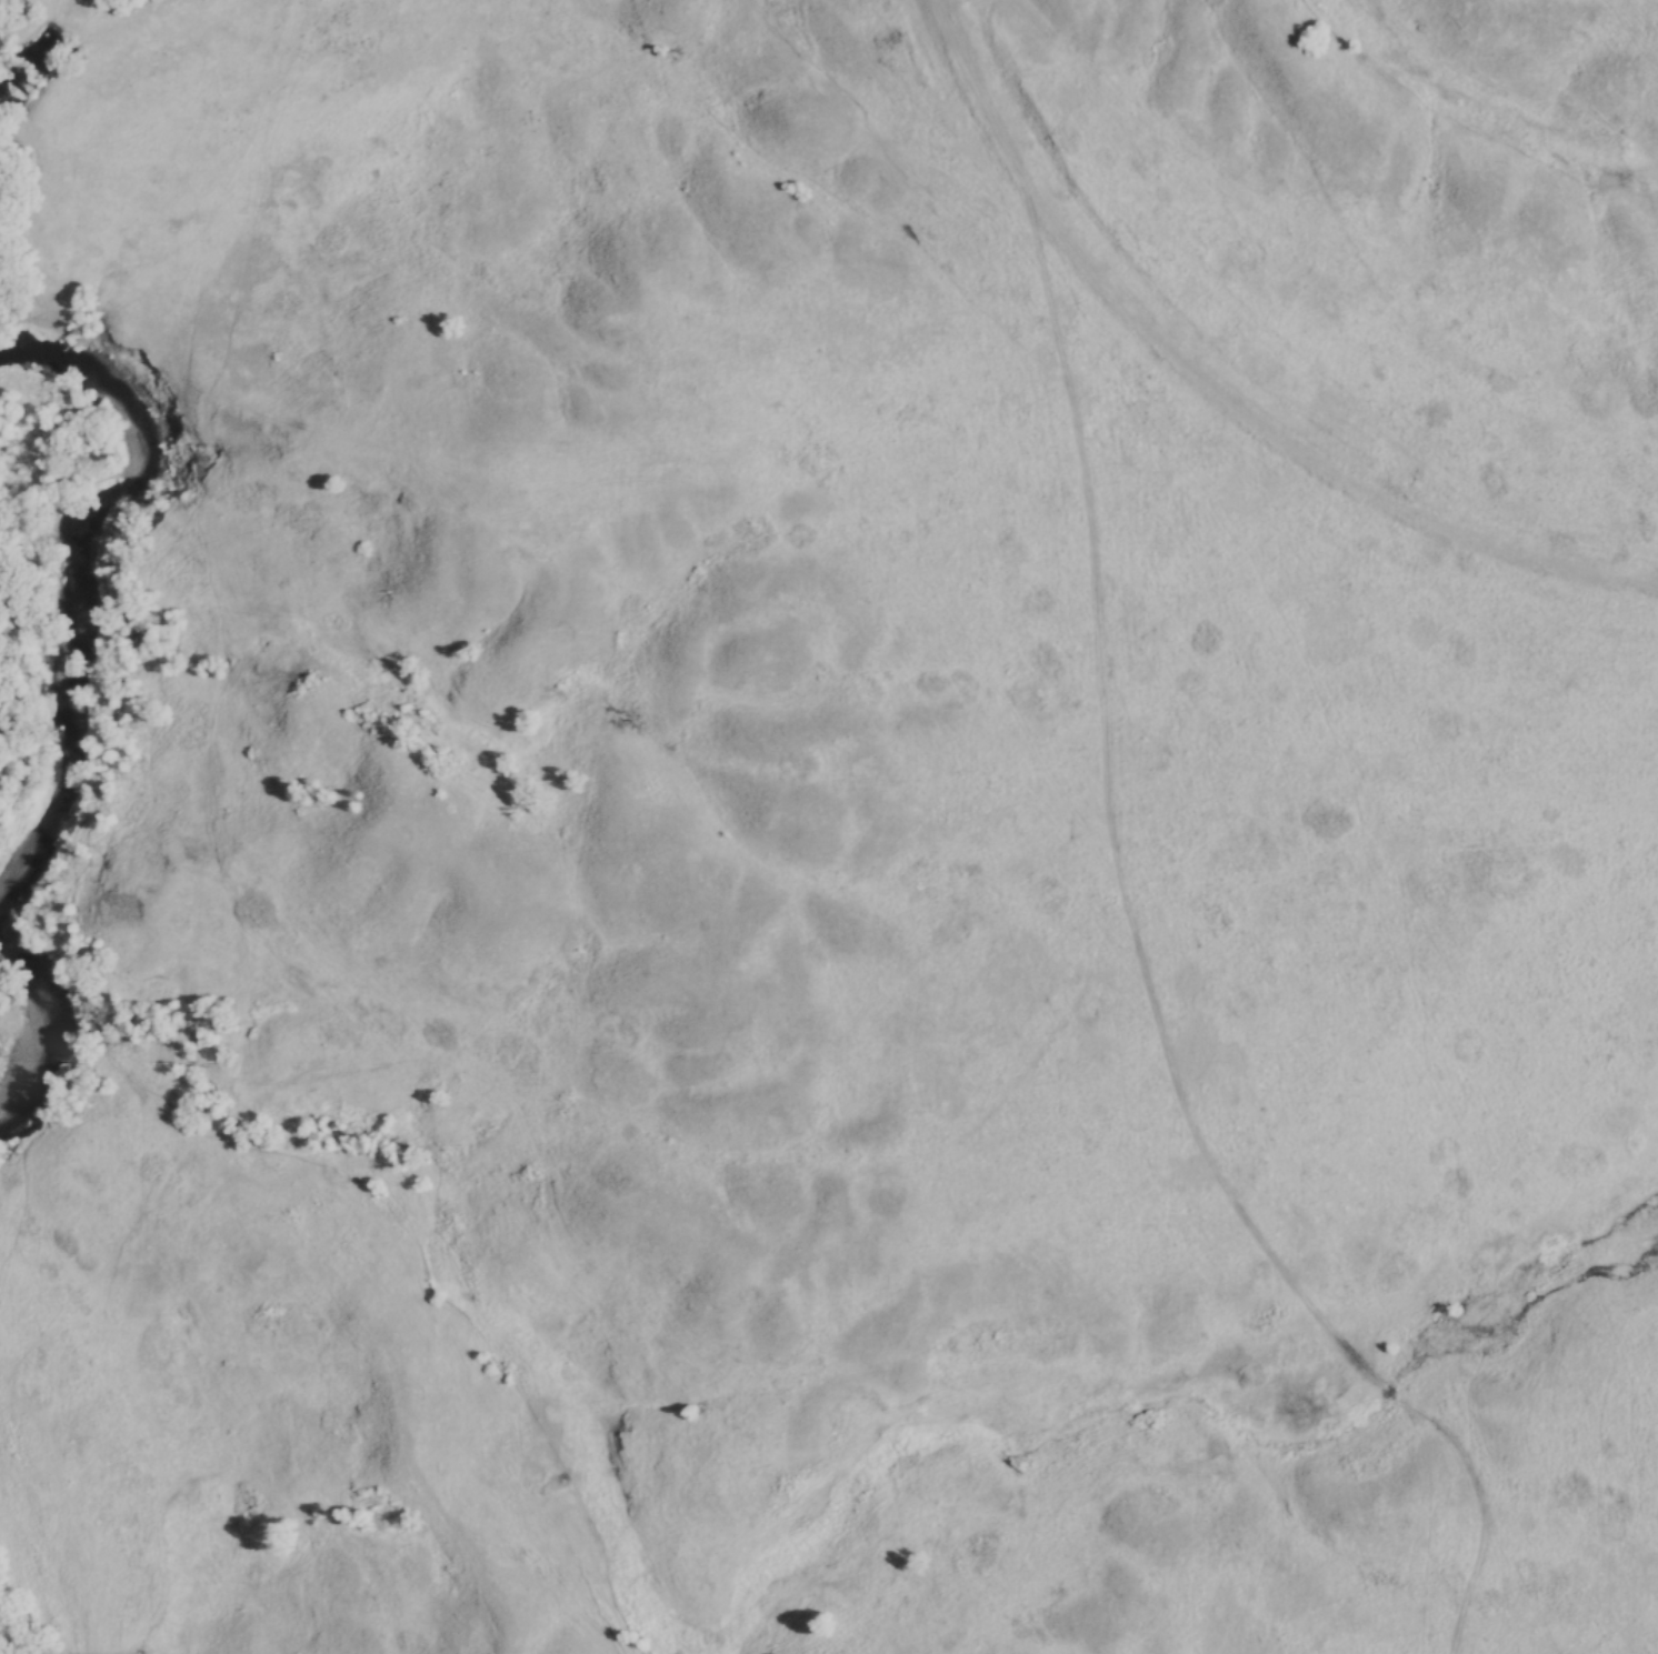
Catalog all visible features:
river: (59, 692)

